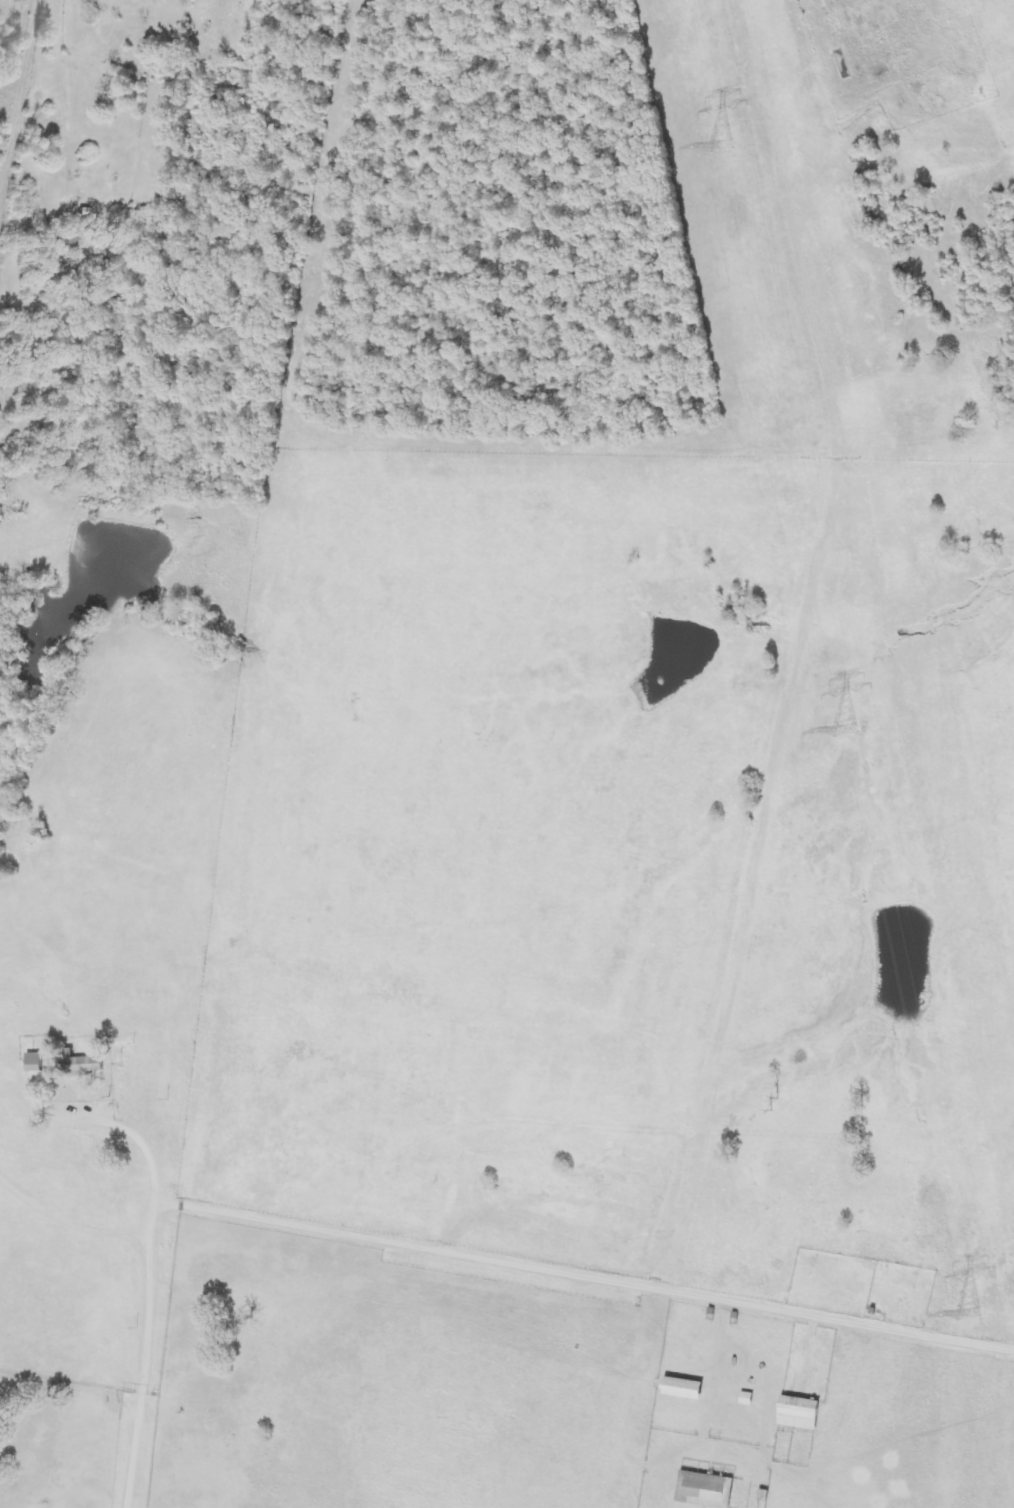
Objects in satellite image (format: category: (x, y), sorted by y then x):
power tower: (714, 148)
railway: (912, 481)
power tower: (840, 732)
building: (33, 1063)
building: (82, 1065)
road: (64, 1195)
road: (120, 1300)
power tower: (962, 1314)
building: (684, 1389)
building: (799, 1413)
building: (704, 1490)

